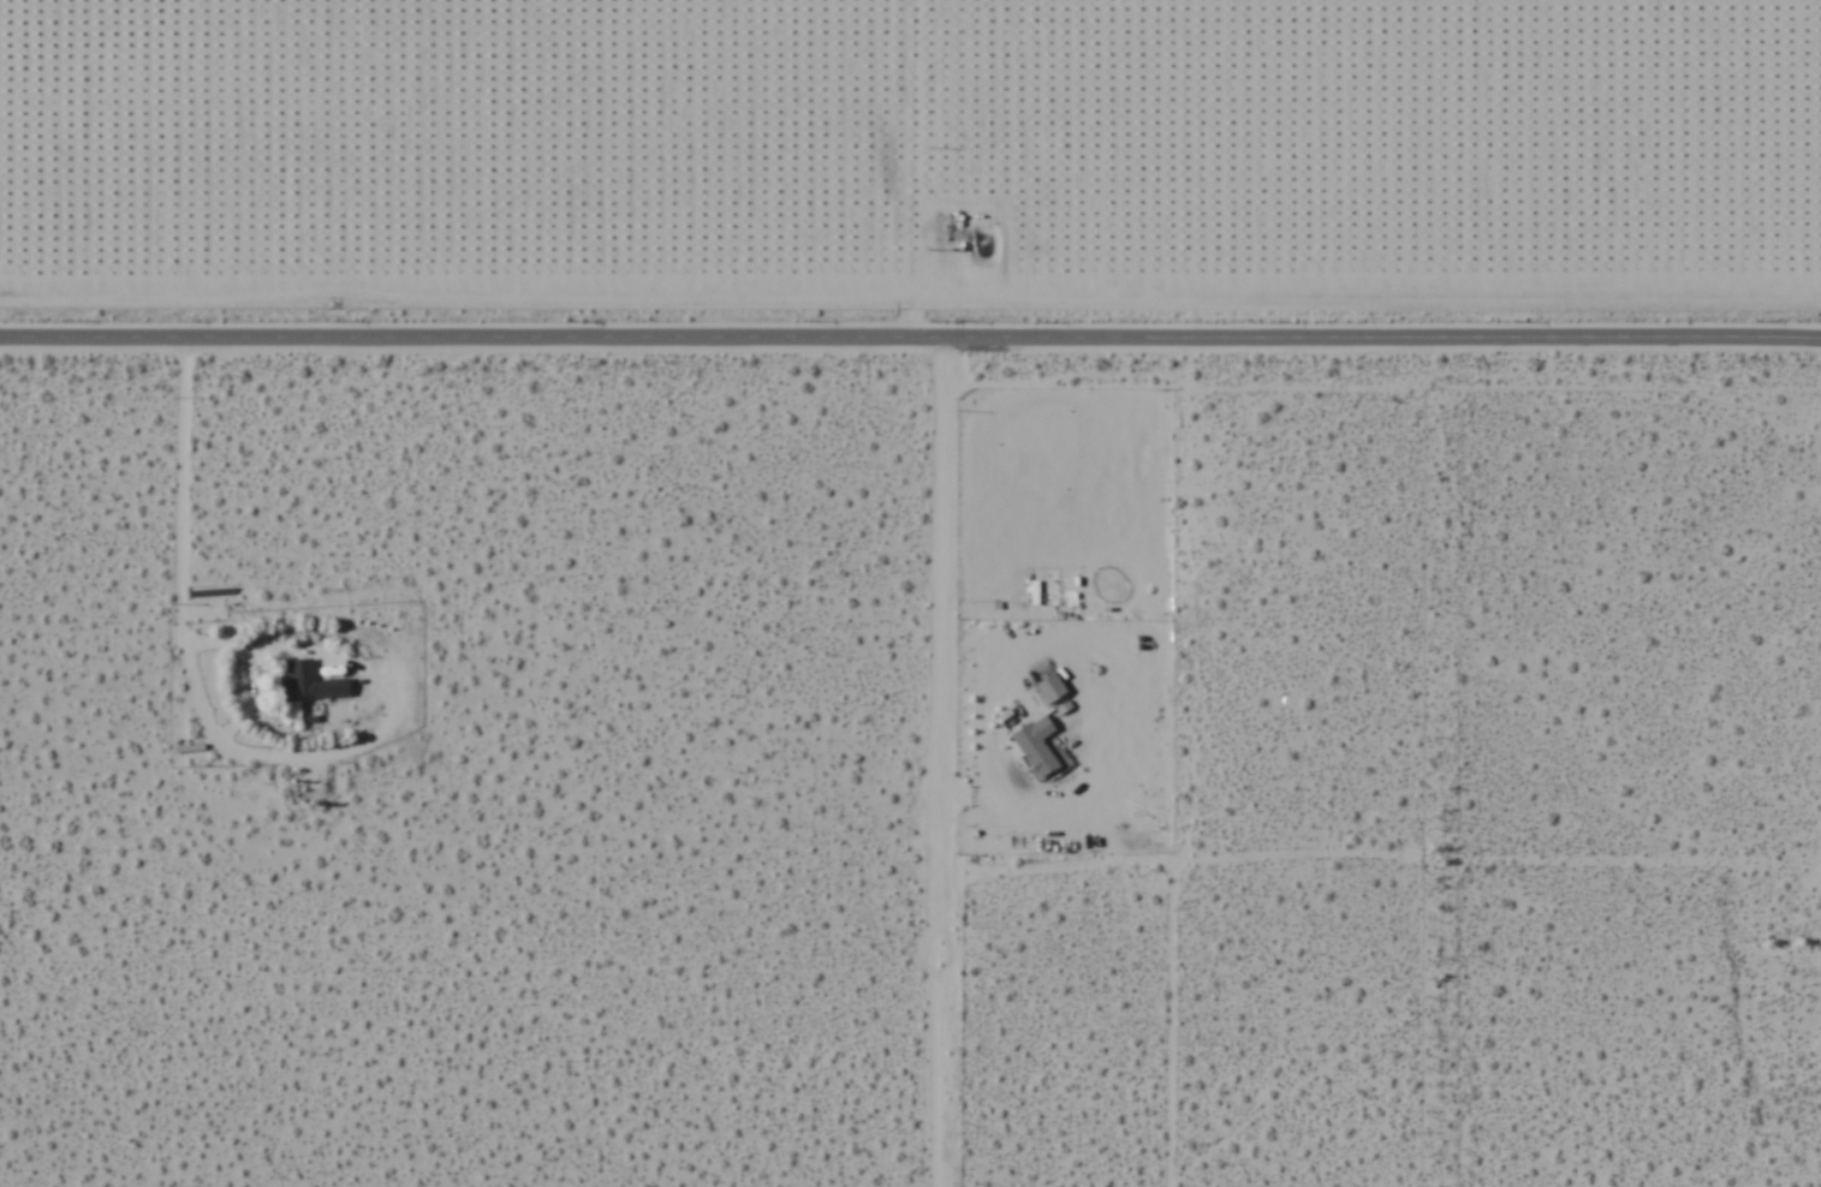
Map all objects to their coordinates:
road: (469, 342)
road: (1380, 344)
building: (307, 684)
building: (1036, 746)
road: (927, 764)

